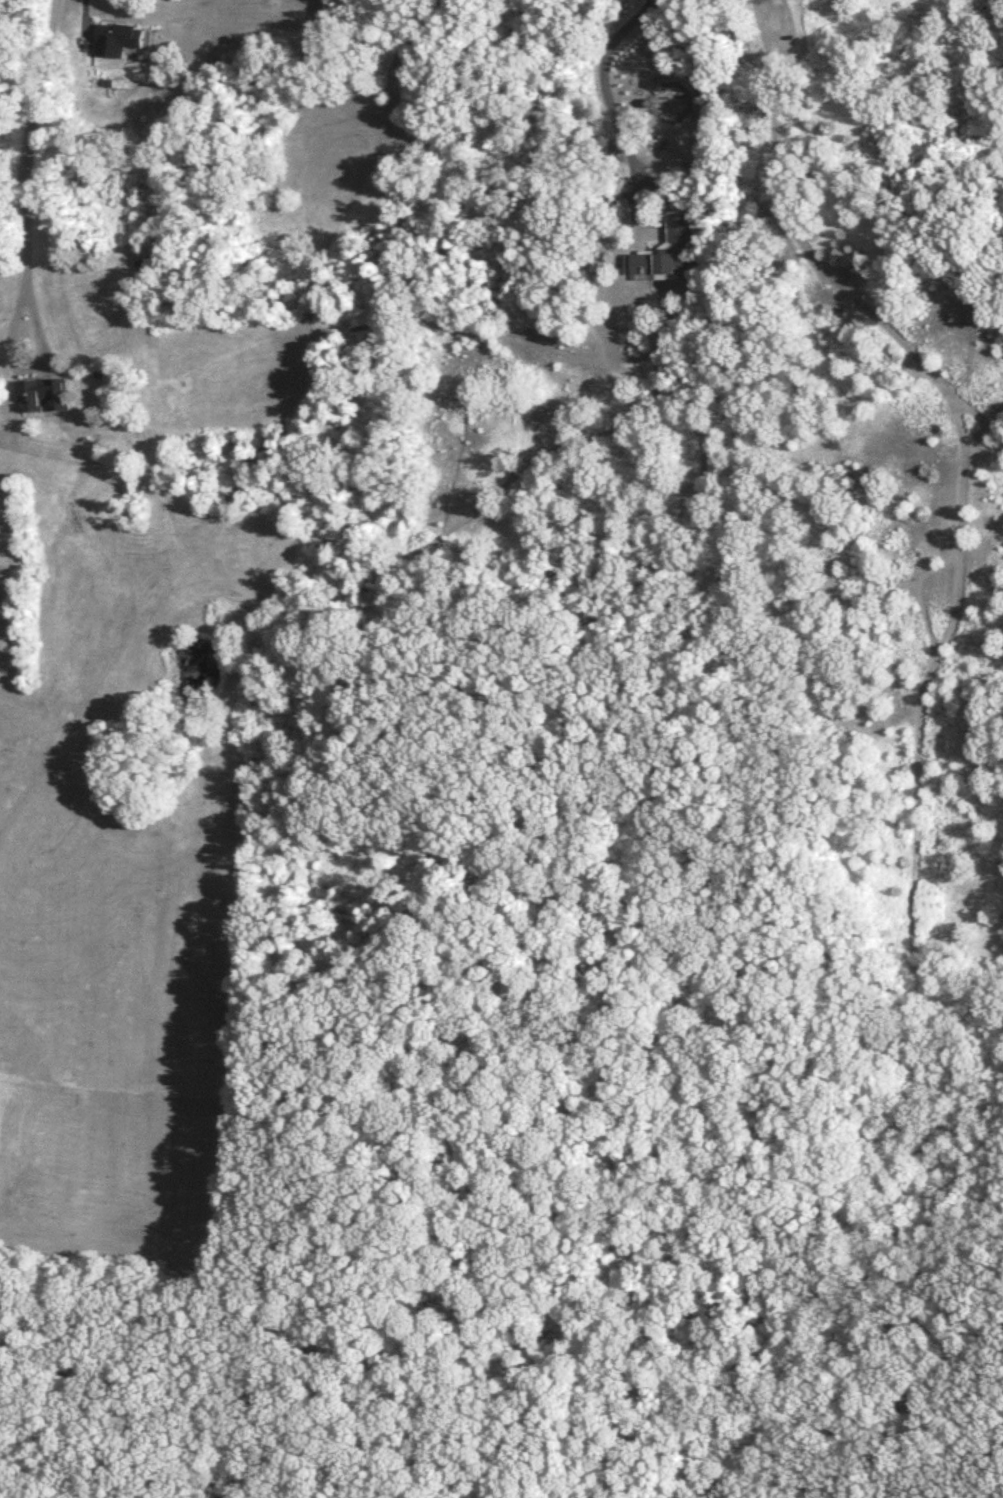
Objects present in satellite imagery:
road: (84, 22)
road: (763, 27)
parking lot: (775, 29)
building: (118, 37)
road: (613, 112)
road: (27, 140)
road: (814, 249)
building: (147, 267)
road: (32, 367)
building: (47, 395)
road: (978, 409)
park: (862, 748)
road: (912, 790)

